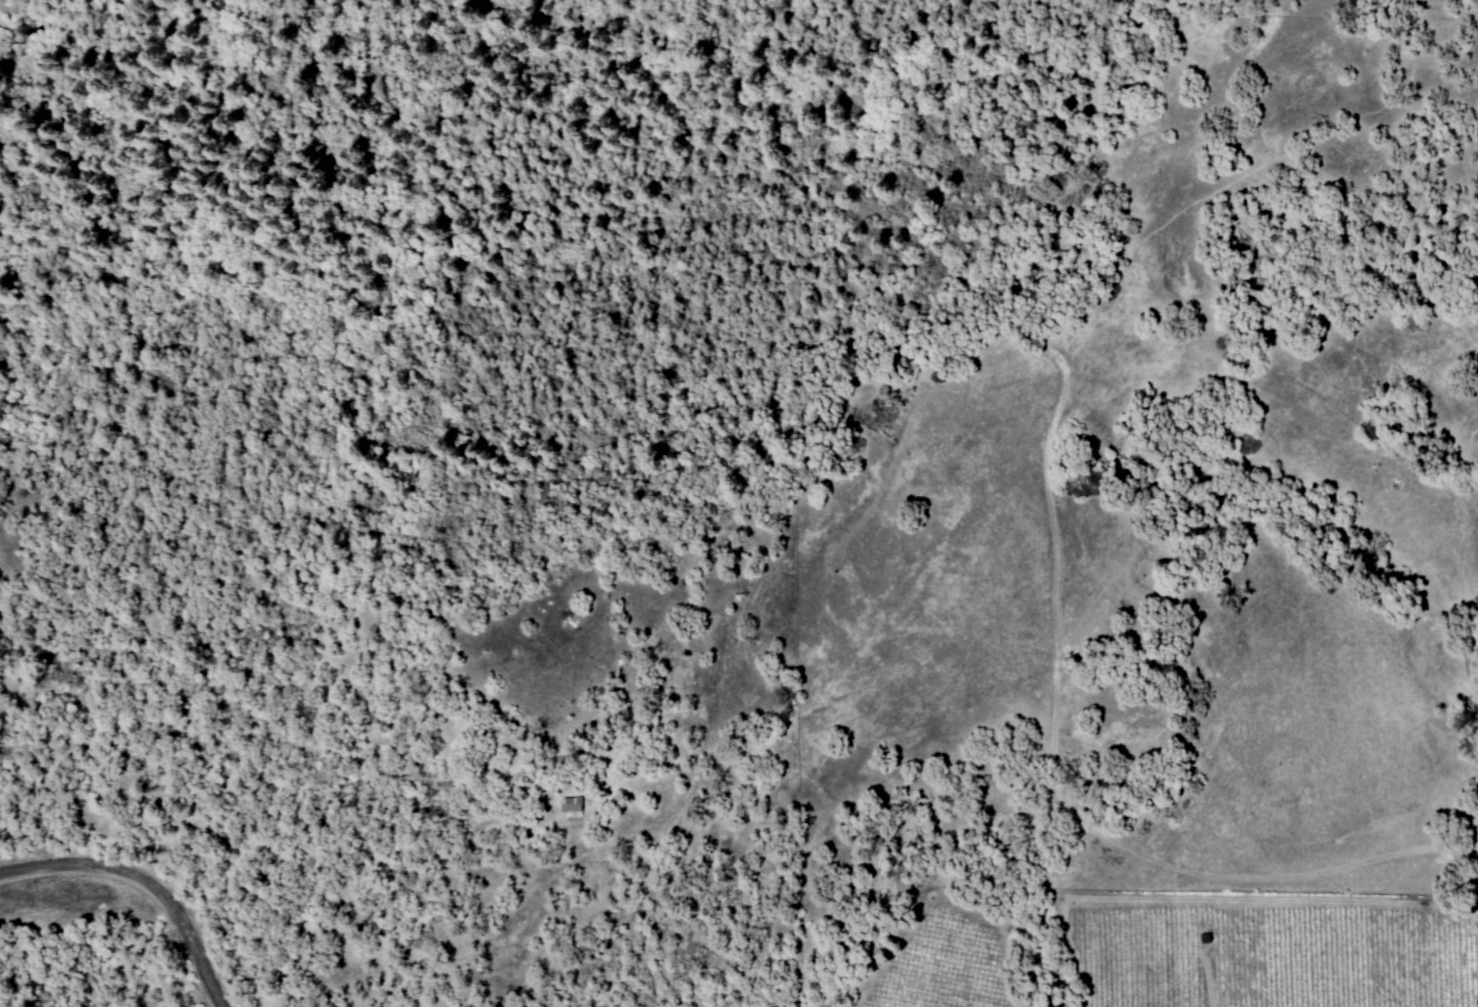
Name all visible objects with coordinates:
building: (569, 805)
road: (143, 883)
crop: (1180, 942)
road: (1206, 982)

